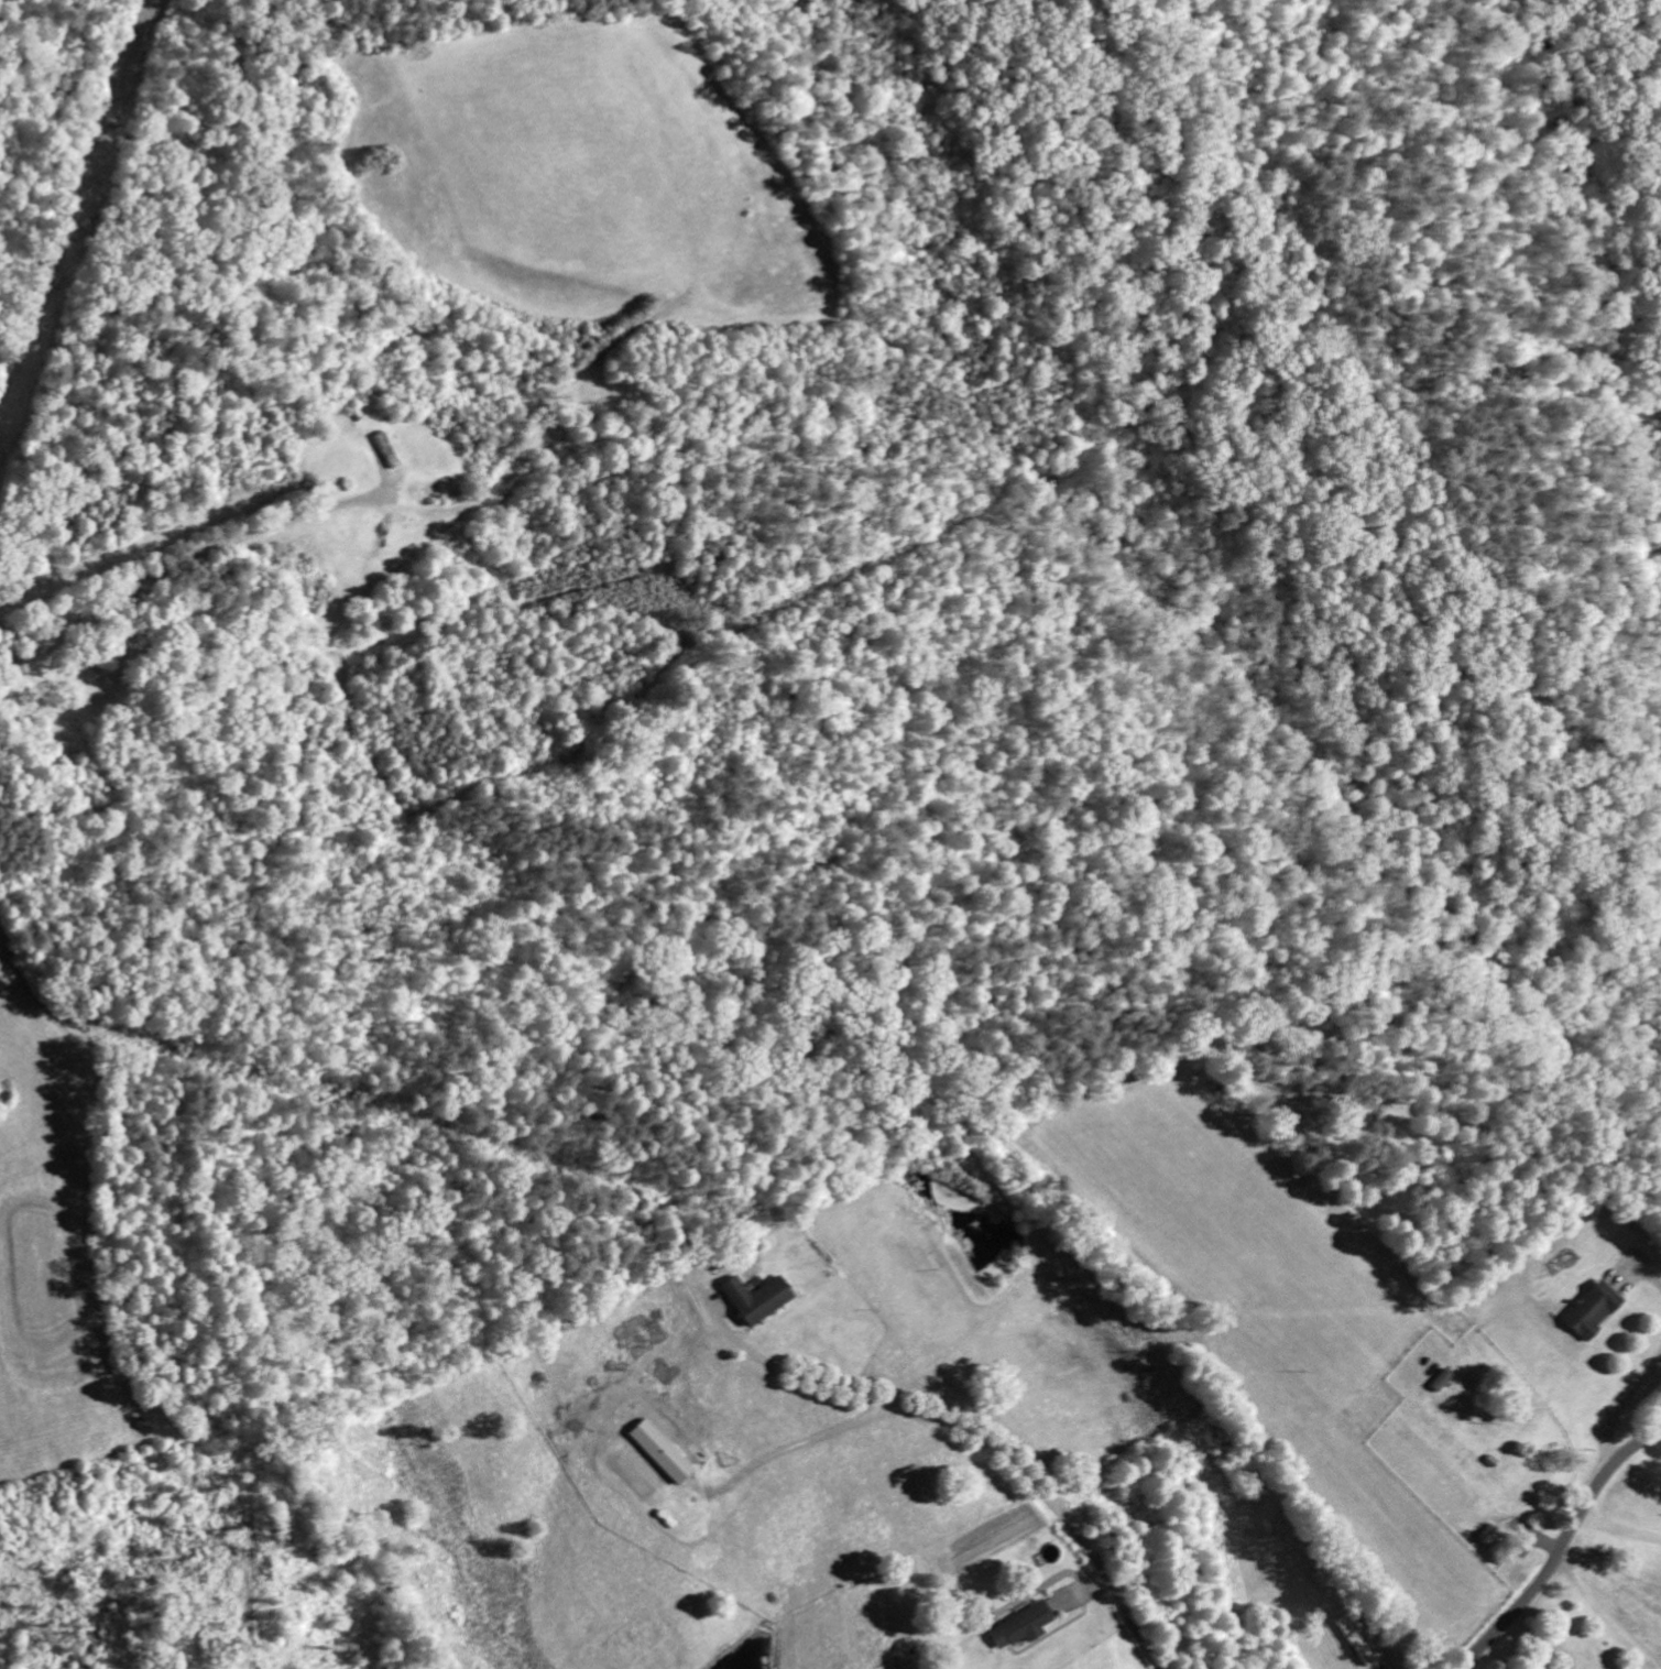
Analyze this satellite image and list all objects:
road: (183, 563)
building: (753, 1300)
building: (1589, 1311)
building: (1439, 1382)
building: (658, 1453)
building: (1486, 1538)
road: (1559, 1547)
building: (1017, 1628)
building: (1353, 1643)

